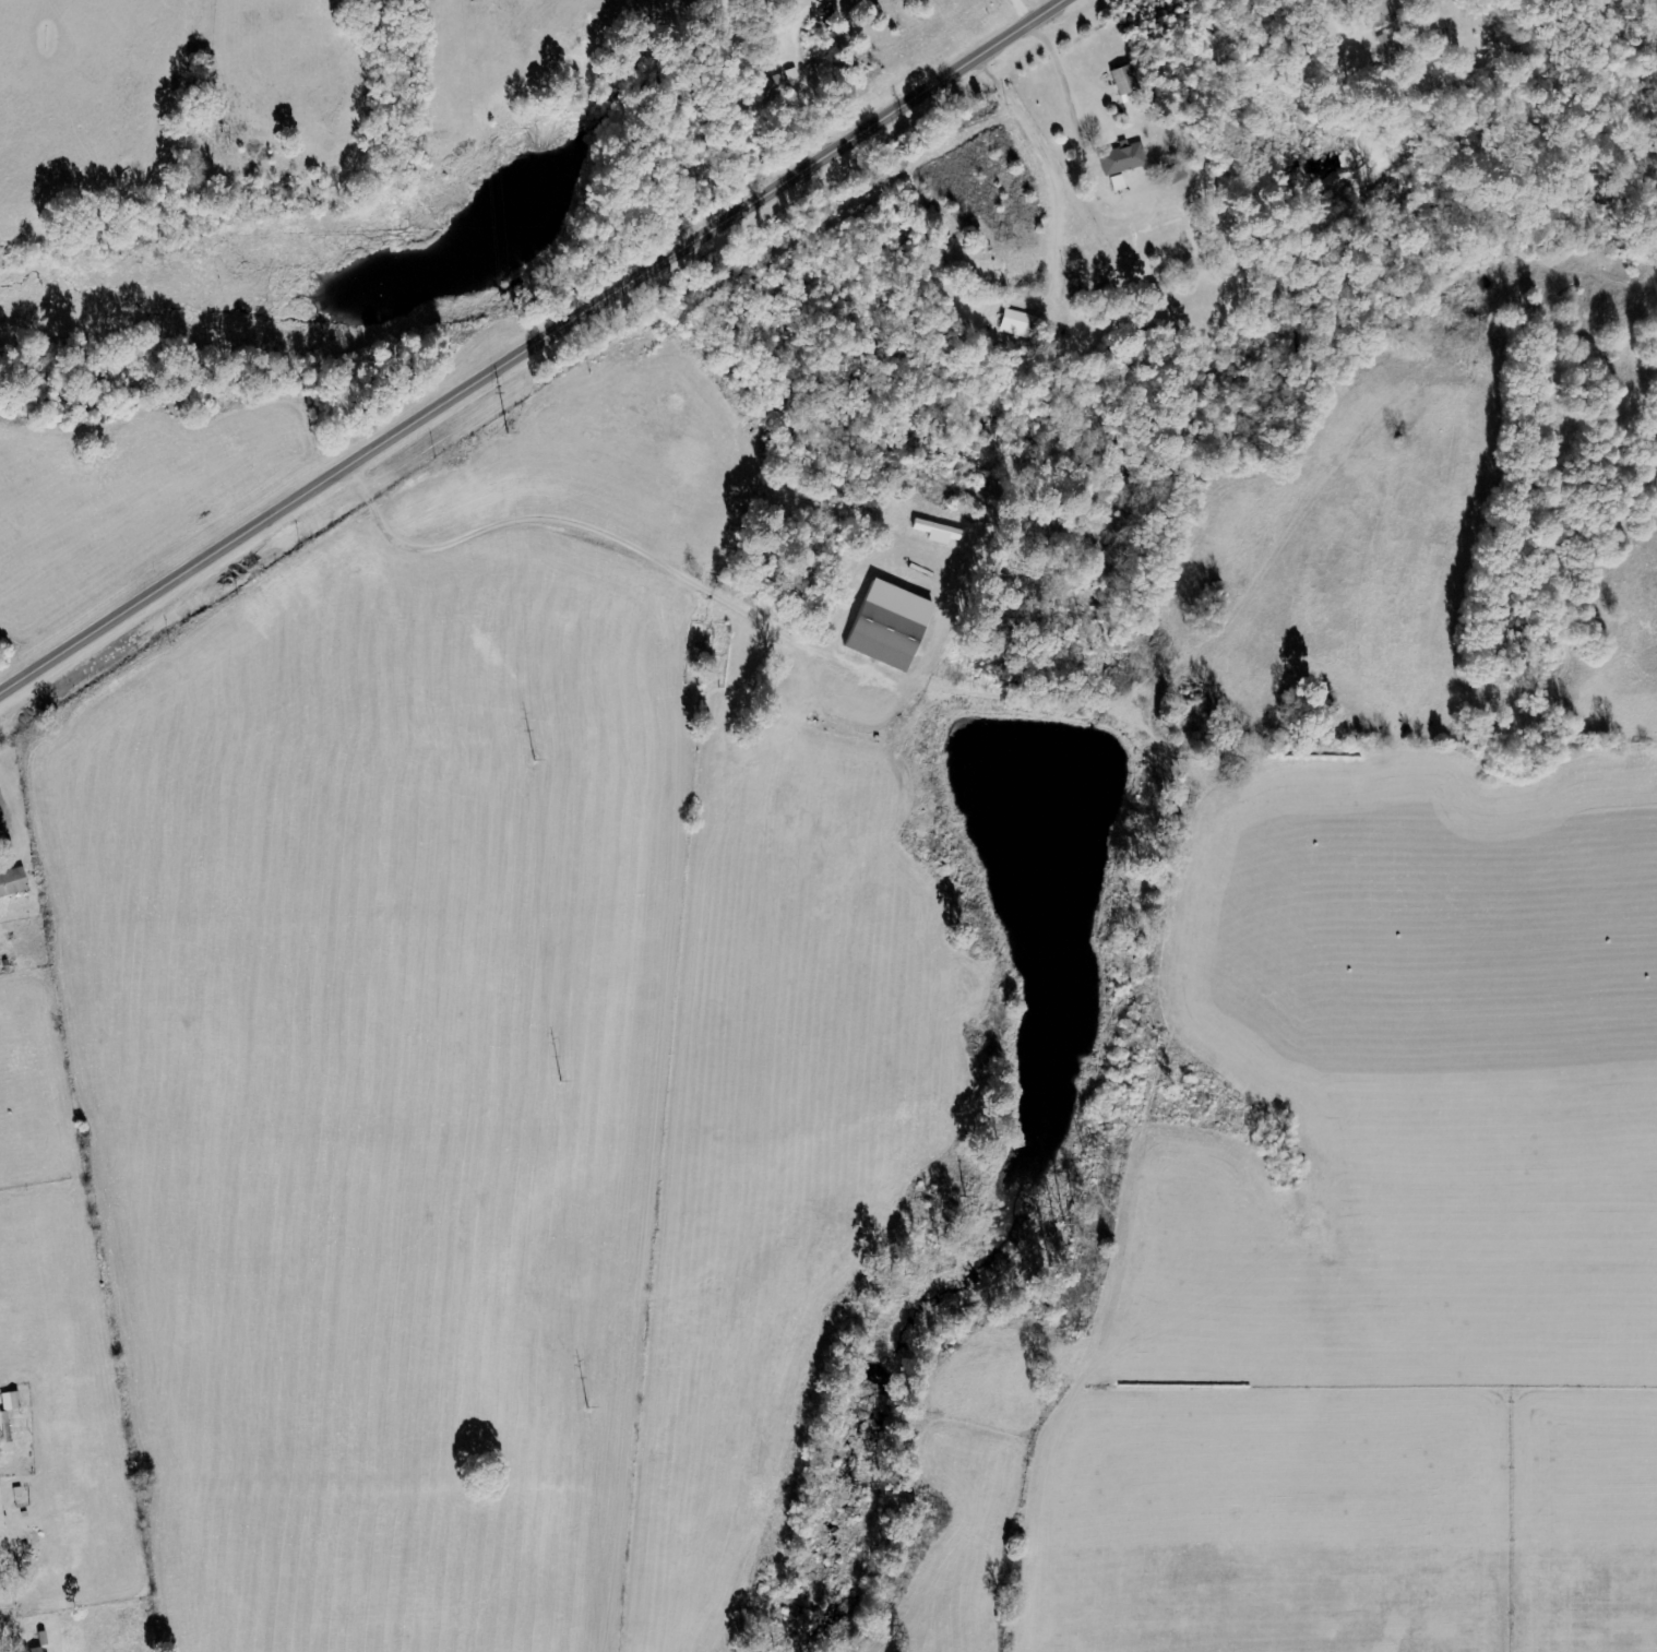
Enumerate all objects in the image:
building: (1375, 12)
building: (1122, 81)
road: (1099, 152)
building: (1119, 159)
building: (1016, 324)
road: (528, 343)
building: (937, 533)
building: (886, 627)
building: (11, 882)
building: (3, 1431)
building: (33, 1650)

